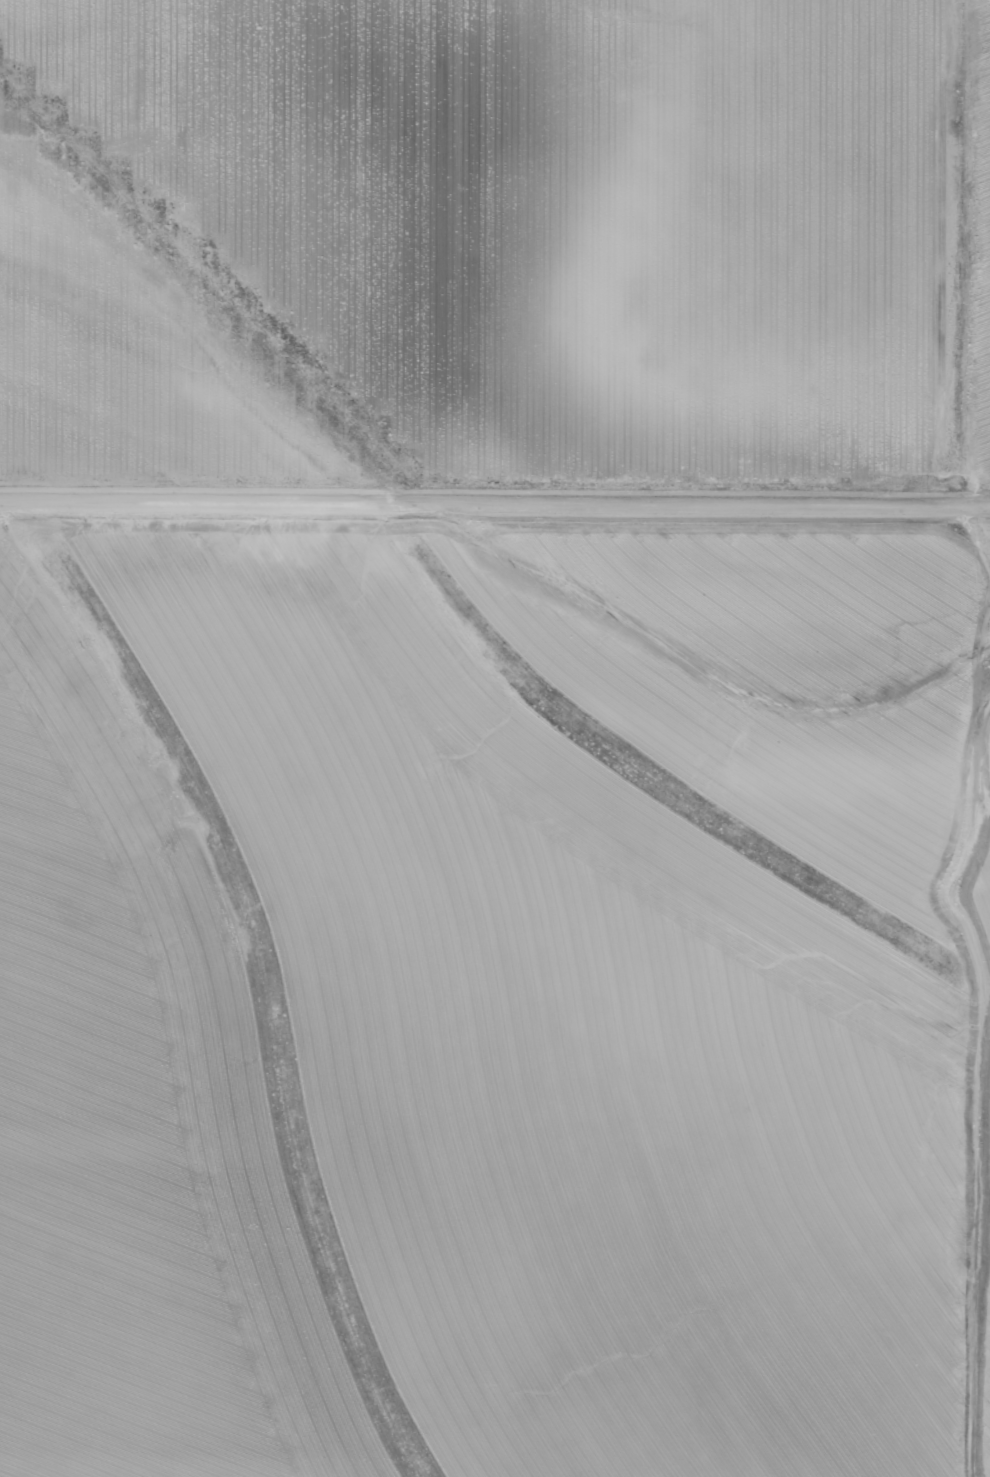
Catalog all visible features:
road: (919, 253)
road: (495, 503)

